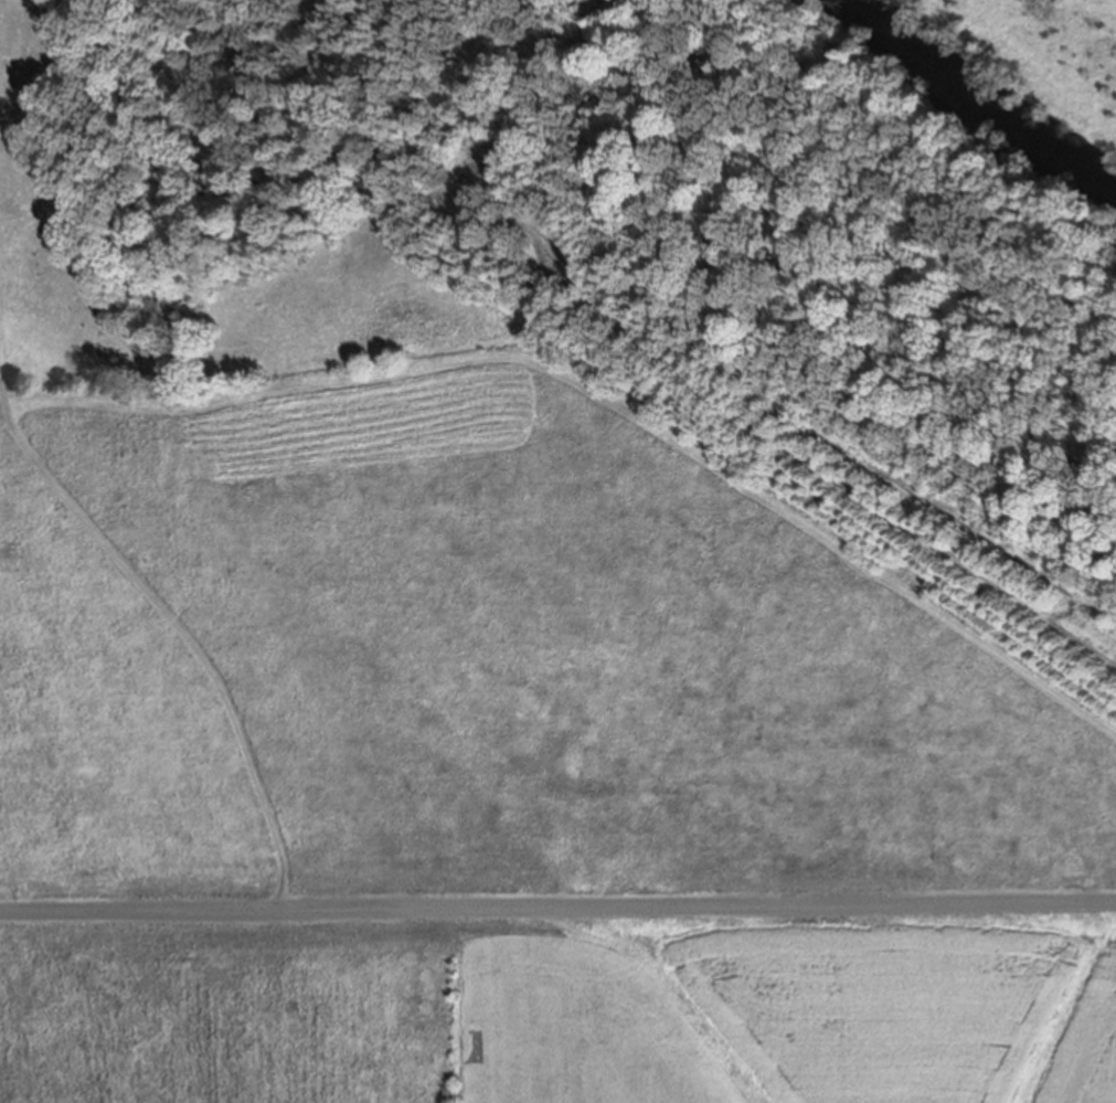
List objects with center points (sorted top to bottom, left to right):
river: (1003, 86)
road: (557, 900)

